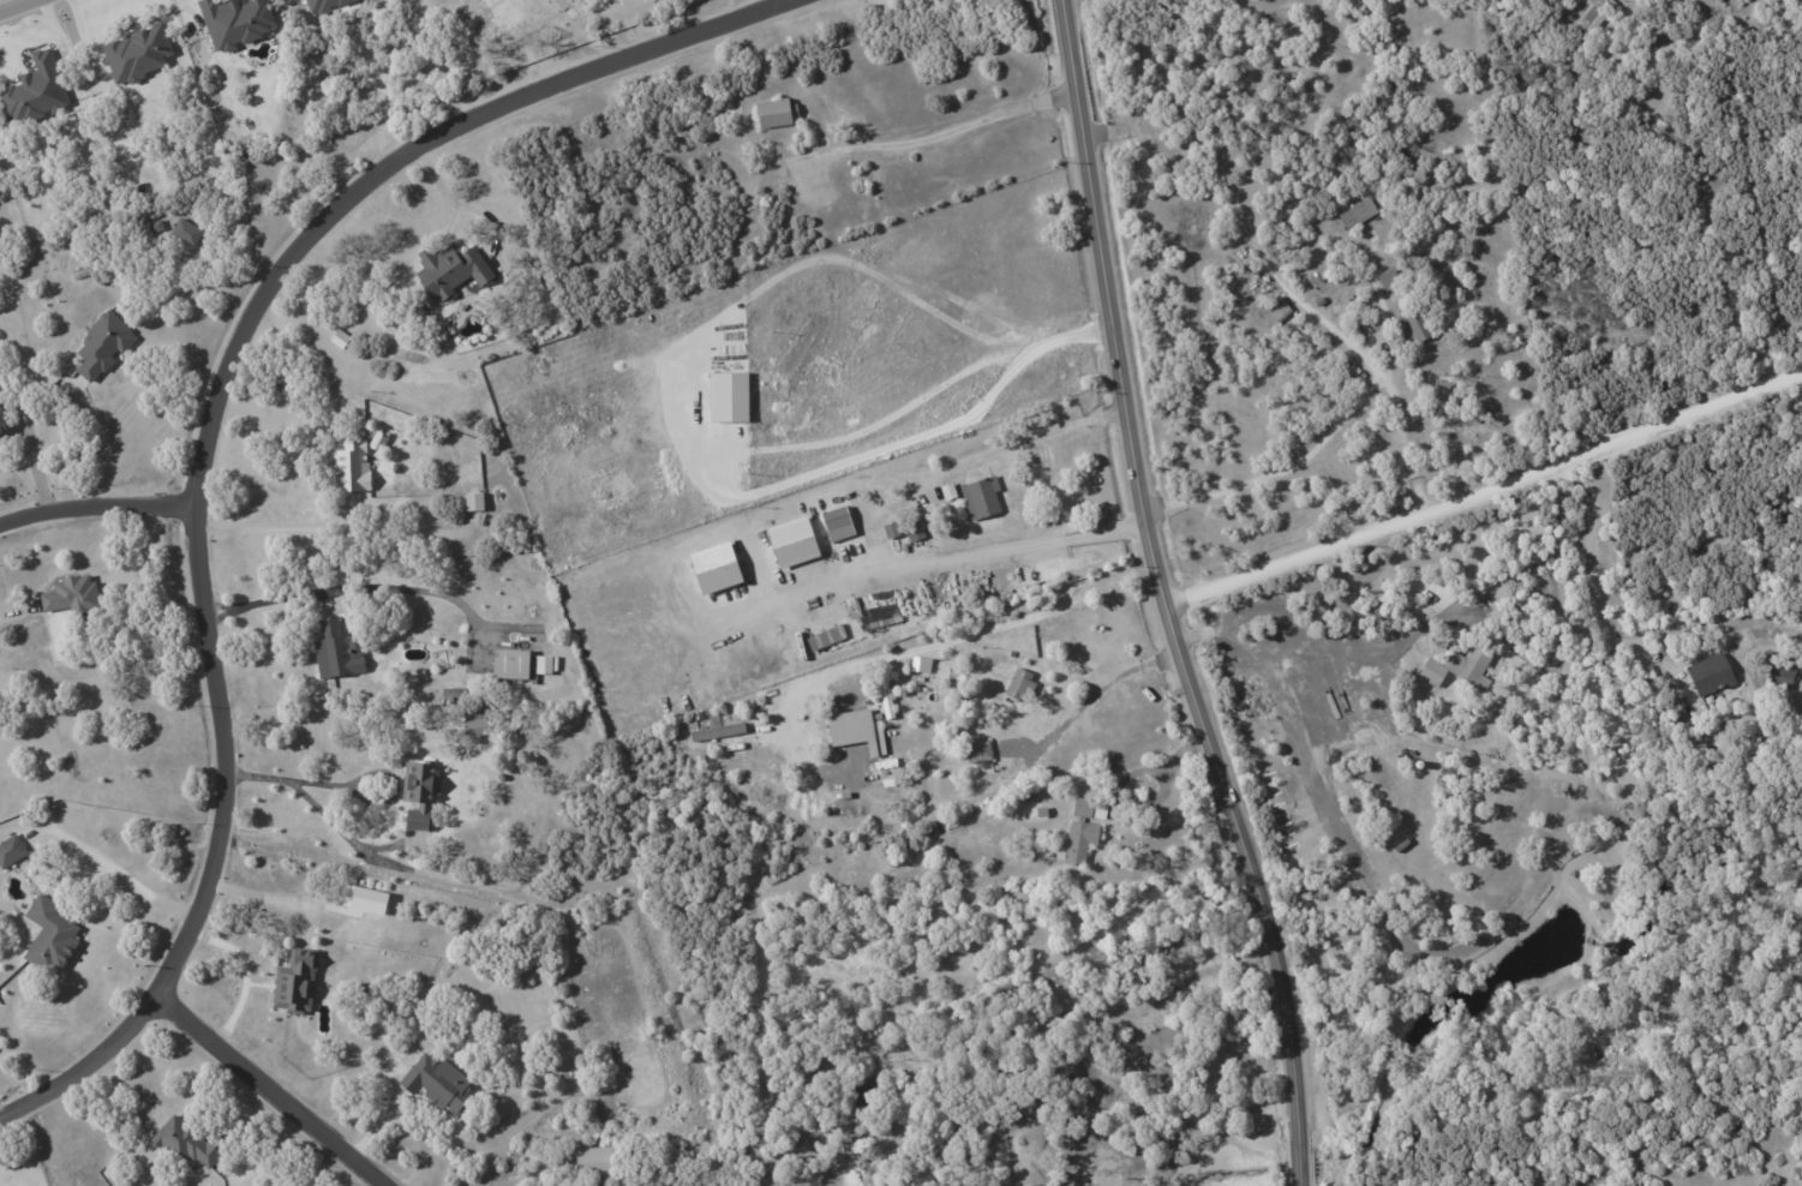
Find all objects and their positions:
road: (14, 5)
building: (1591, 17)
building: (234, 20)
building: (34, 89)
building: (776, 112)
road: (938, 137)
road: (451, 198)
building: (1357, 212)
building: (185, 230)
building: (450, 269)
building: (1387, 278)
building: (1273, 310)
building: (1414, 324)
road: (1340, 335)
building: (101, 345)
building: (1438, 390)
road: (929, 396)
building: (728, 400)
building: (2, 427)
road: (205, 441)
road: (1402, 444)
road: (970, 459)
road: (34, 462)
building: (349, 465)
road: (1277, 472)
road: (1484, 490)
building: (980, 497)
building: (473, 501)
road: (98, 514)
road: (268, 523)
building: (836, 523)
building: (890, 529)
building: (912, 533)
building: (791, 540)
road: (978, 555)
road: (1591, 567)
building: (717, 575)
building: (71, 594)
road: (354, 598)
road: (1163, 598)
building: (875, 607)
road: (982, 641)
building: (337, 649)
road: (1316, 653)
building: (509, 663)
building: (539, 664)
building: (1457, 666)
building: (1708, 672)
building: (1779, 675)
building: (1018, 684)
building: (884, 690)
road: (1097, 691)
building: (473, 724)
building: (849, 726)
building: (977, 749)
road: (1298, 765)
road: (286, 778)
building: (417, 793)
road: (1138, 815)
building: (1082, 827)
building: (11, 850)
road: (114, 875)
road: (263, 905)
building: (50, 934)
road: (245, 975)
building: (305, 995)
road: (1155, 995)
building: (436, 1082)
road: (269, 1089)
building: (184, 1142)
building: (593, 1161)

